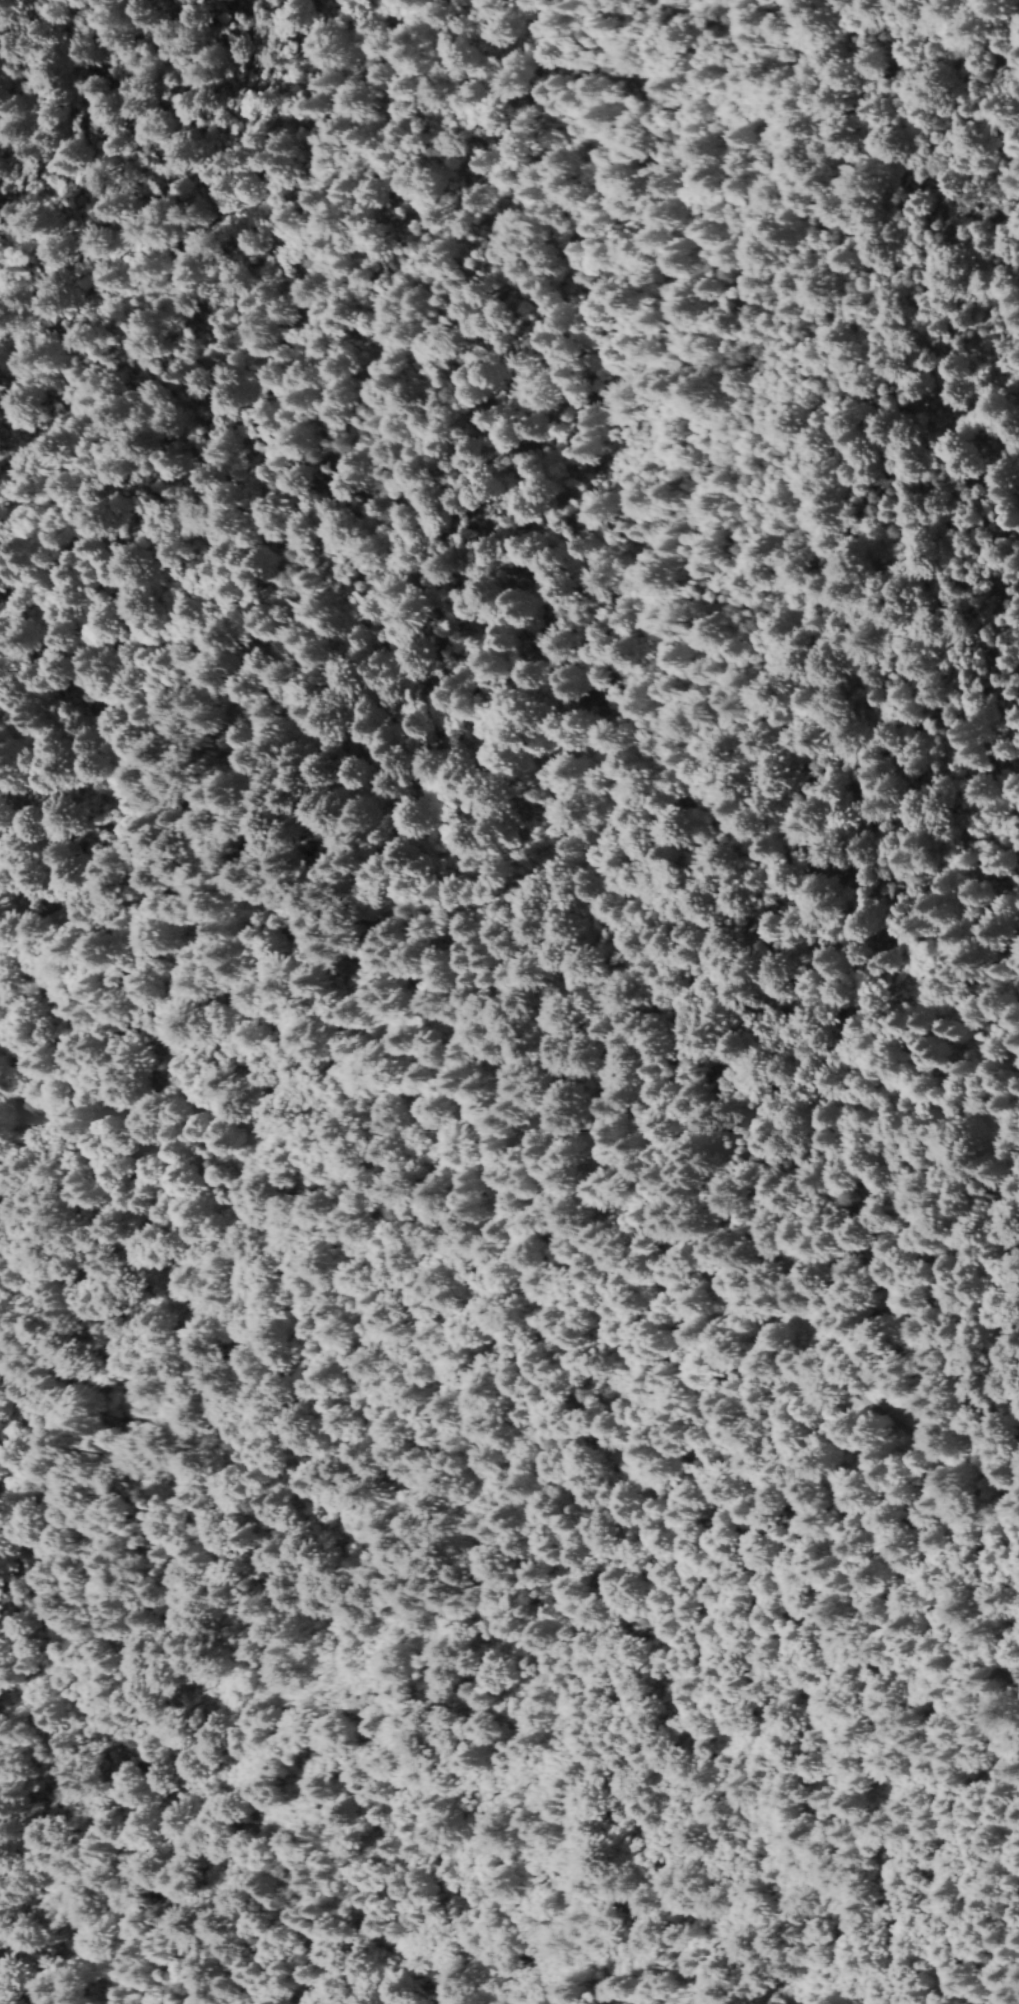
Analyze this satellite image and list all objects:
road: (545, 1116)

